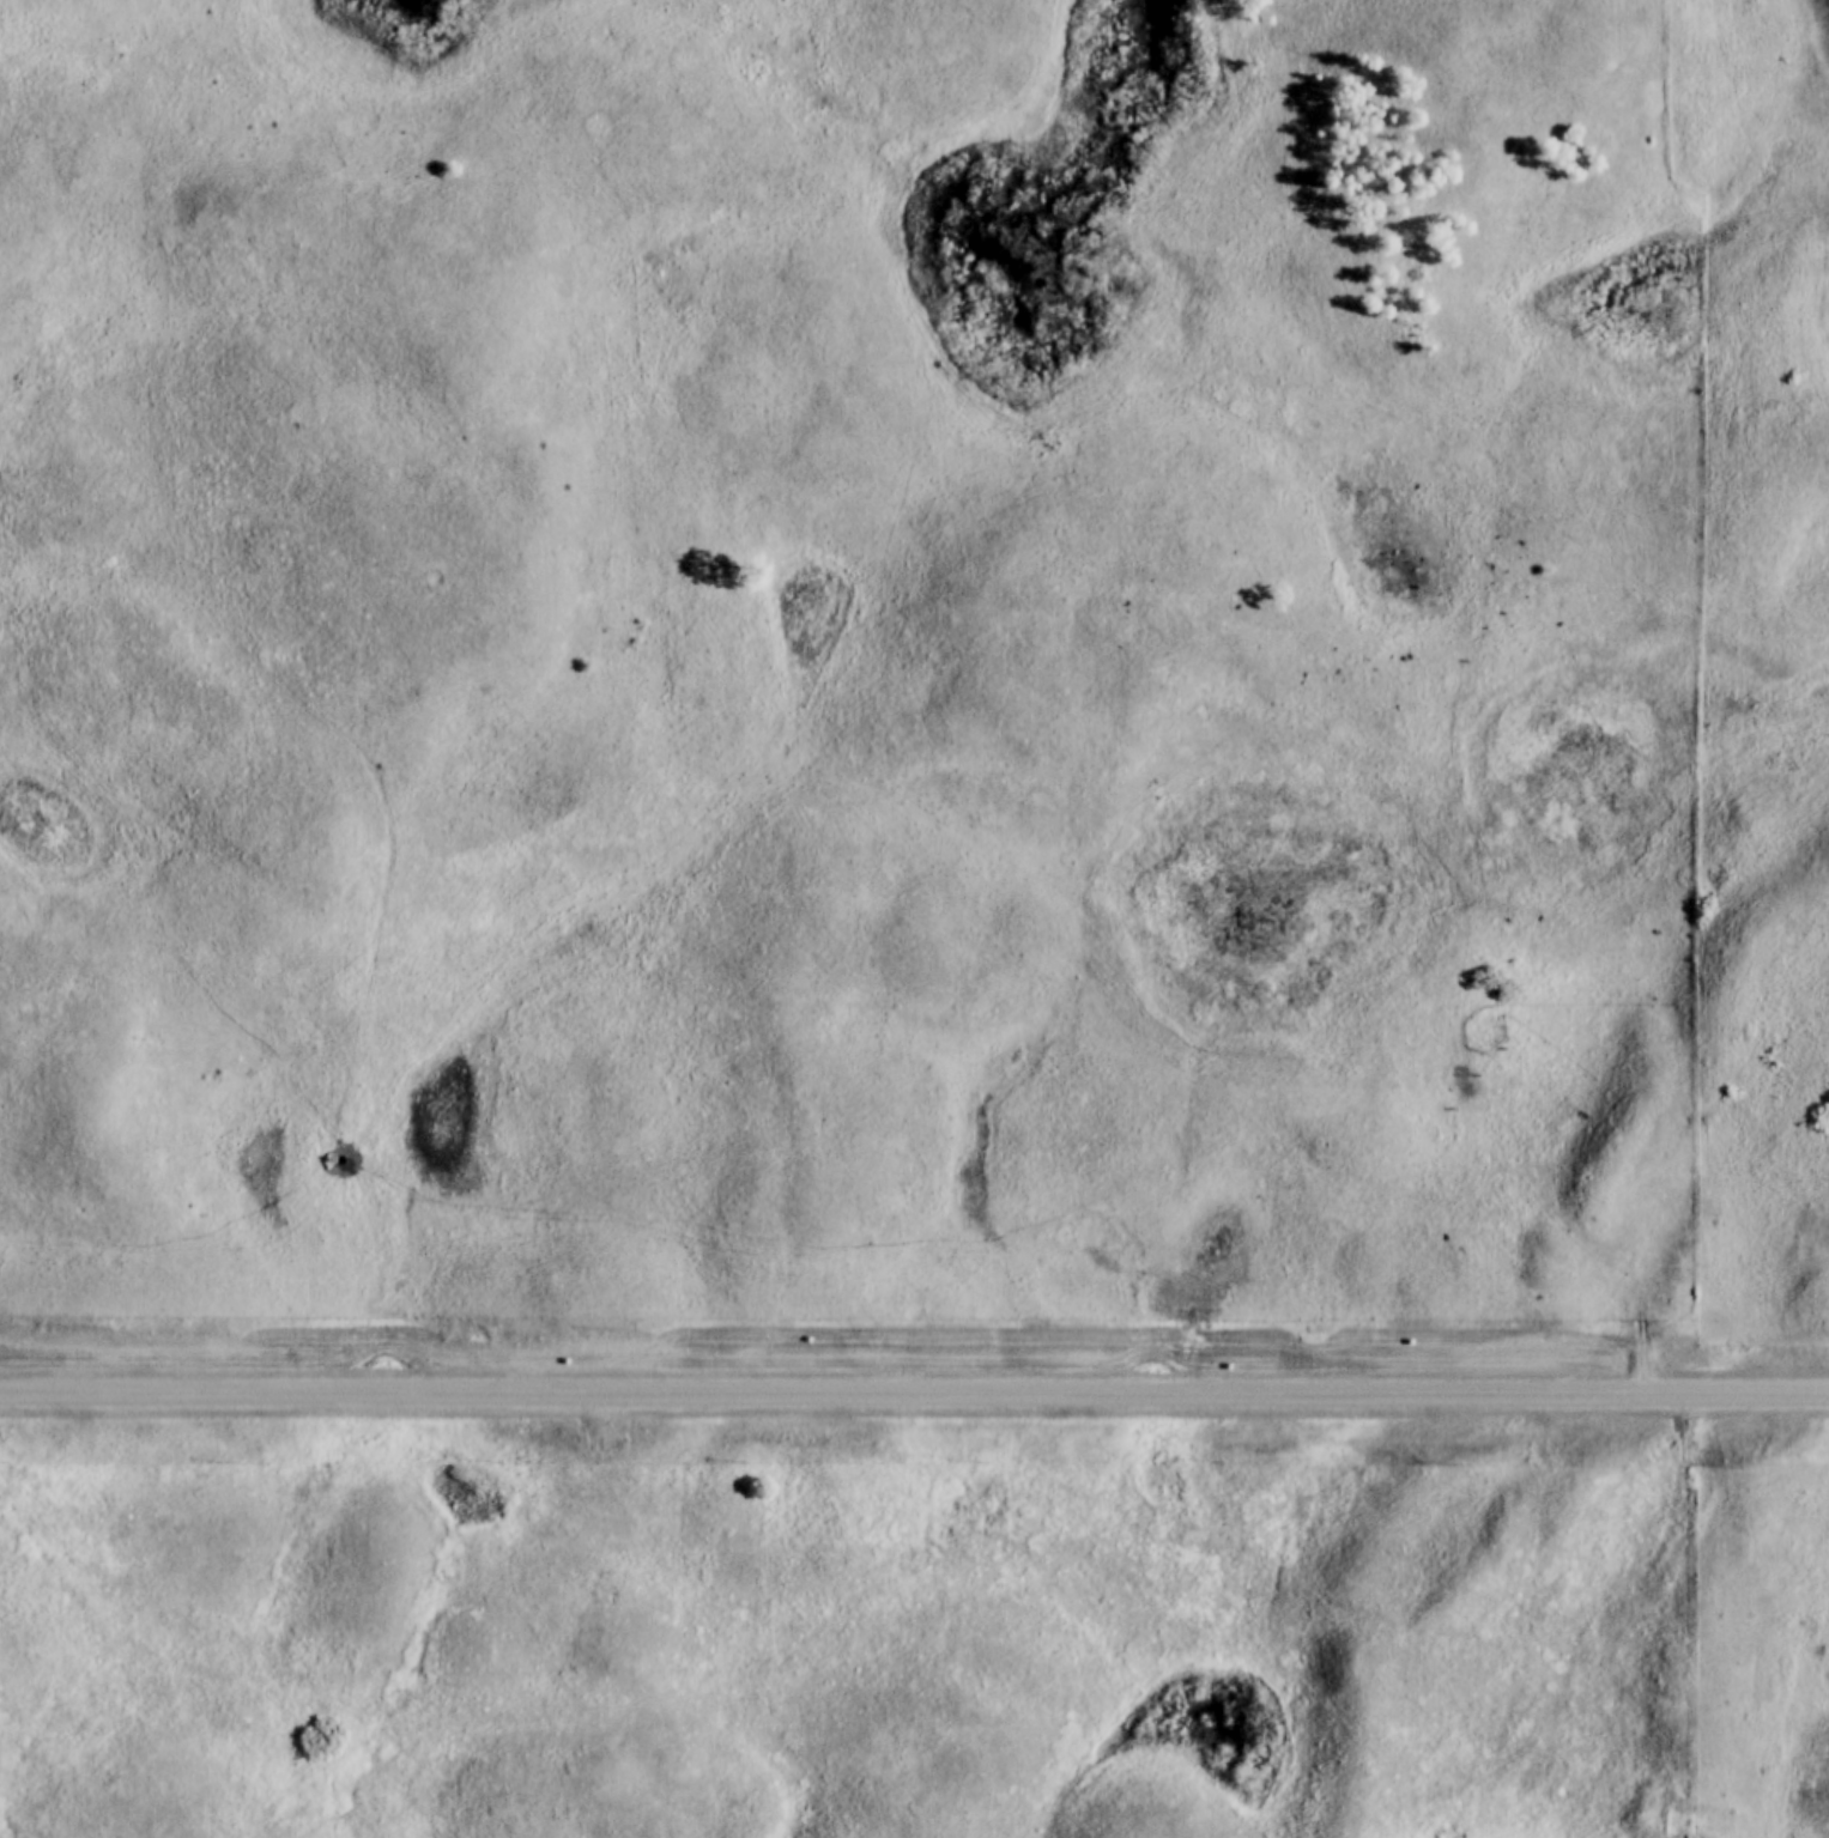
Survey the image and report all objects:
road: (914, 1391)

